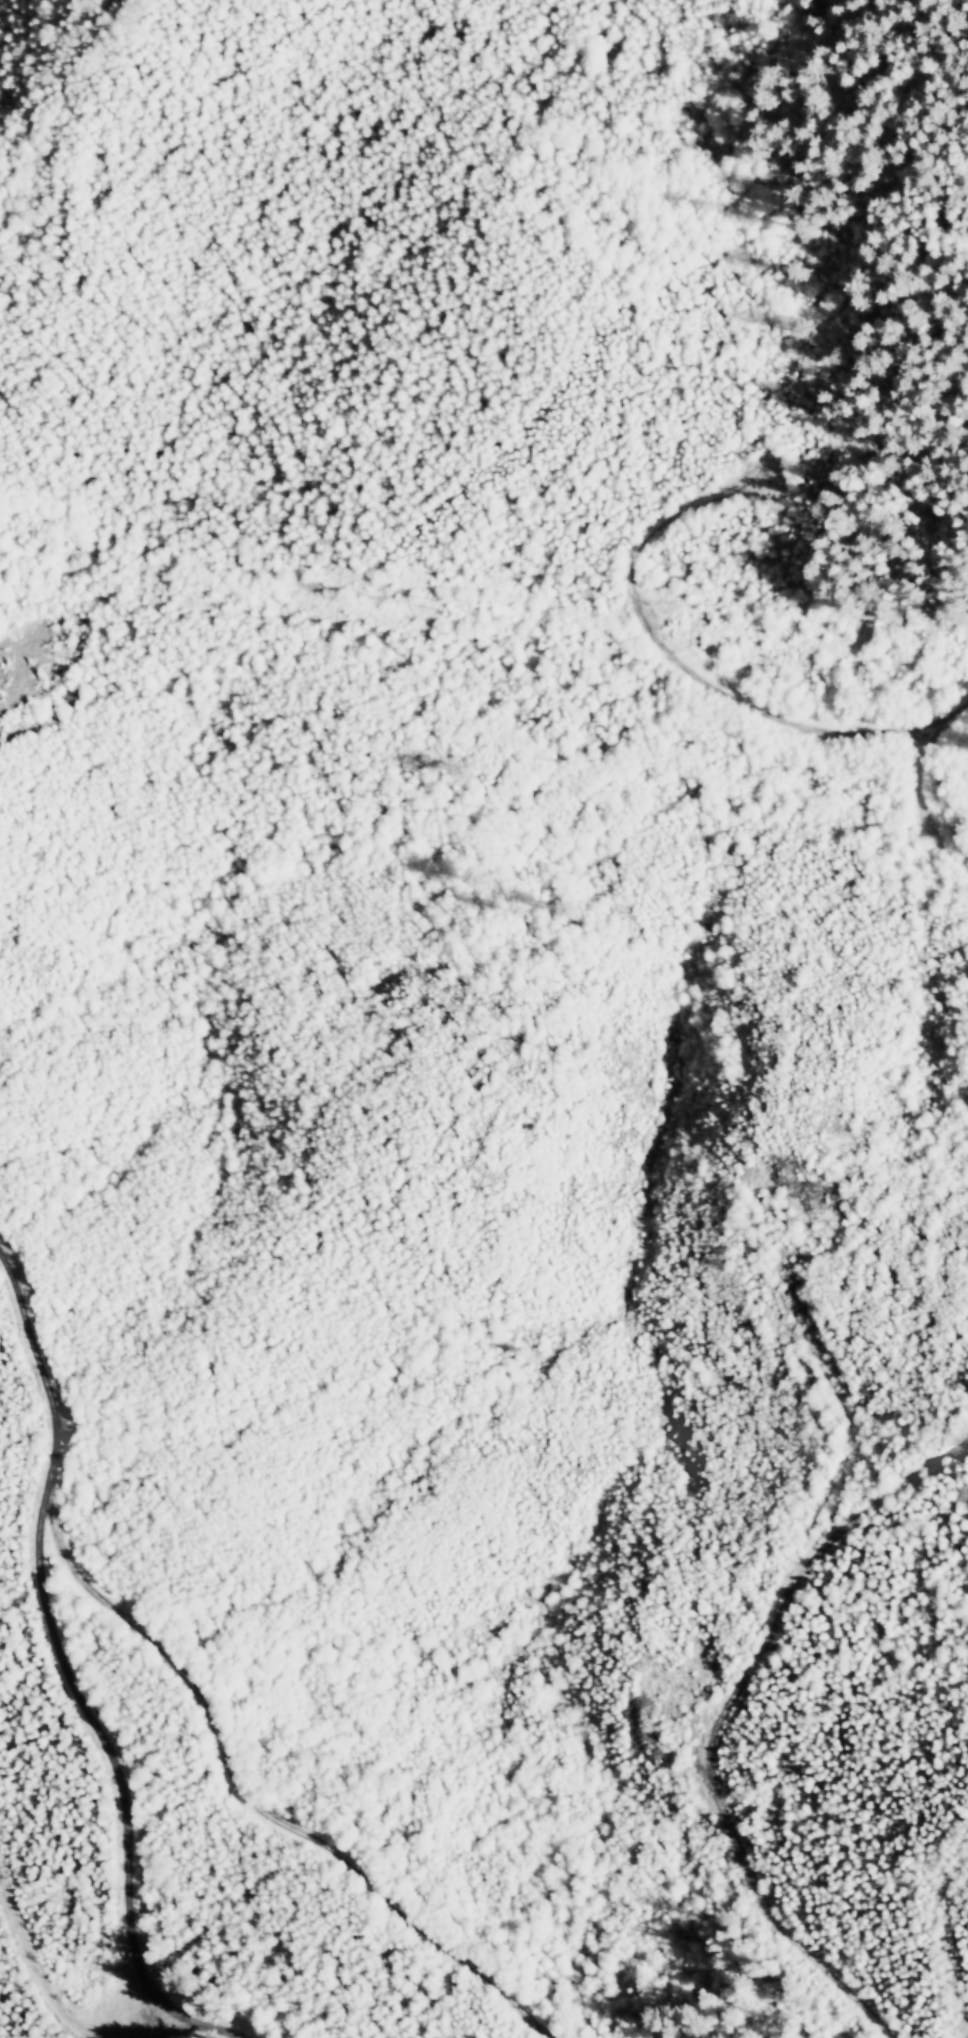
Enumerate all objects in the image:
road: (701, 675)
road: (925, 805)
road: (55, 1682)
road: (724, 1720)
road: (249, 1799)
road: (937, 1945)
road: (178, 2030)

